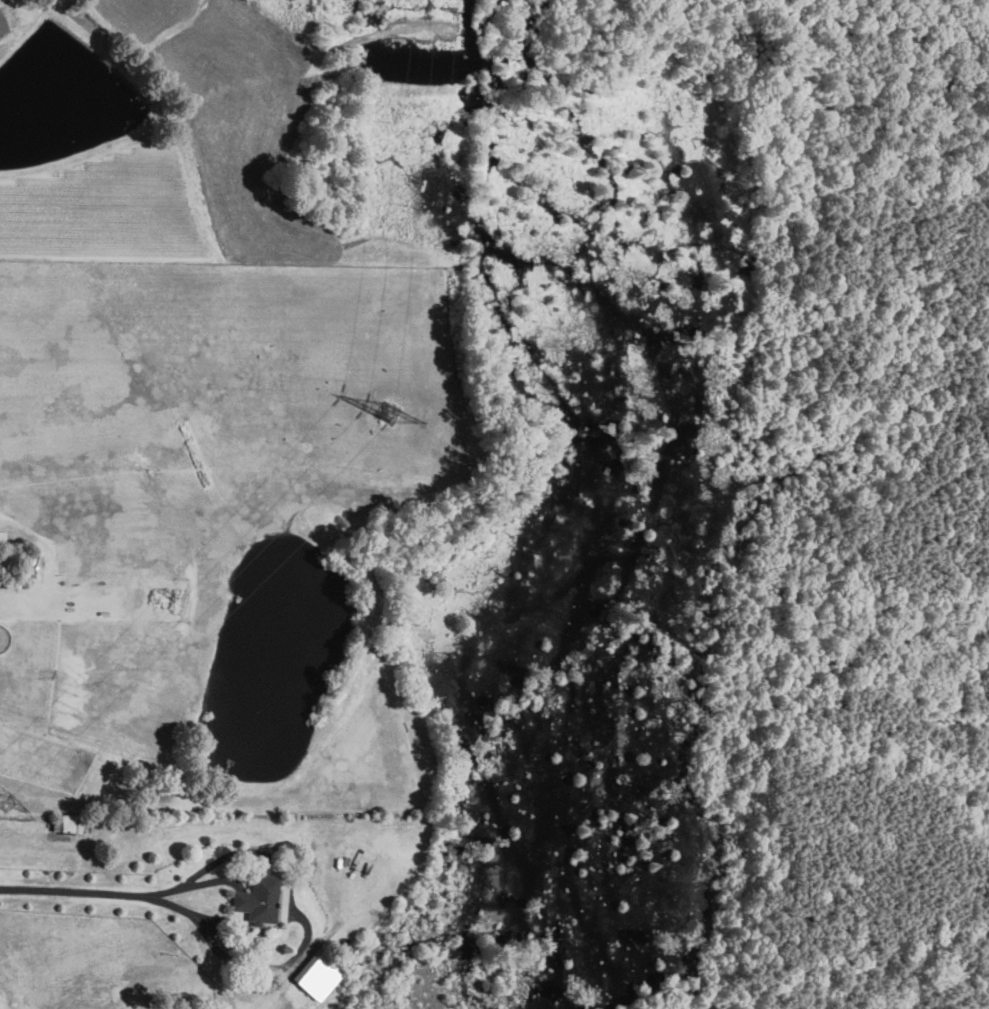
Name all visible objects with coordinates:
building: (2, 24)
power tower: (385, 415)
power tower: (4, 802)
building: (67, 824)
road: (110, 892)
building: (258, 899)
building: (317, 974)

